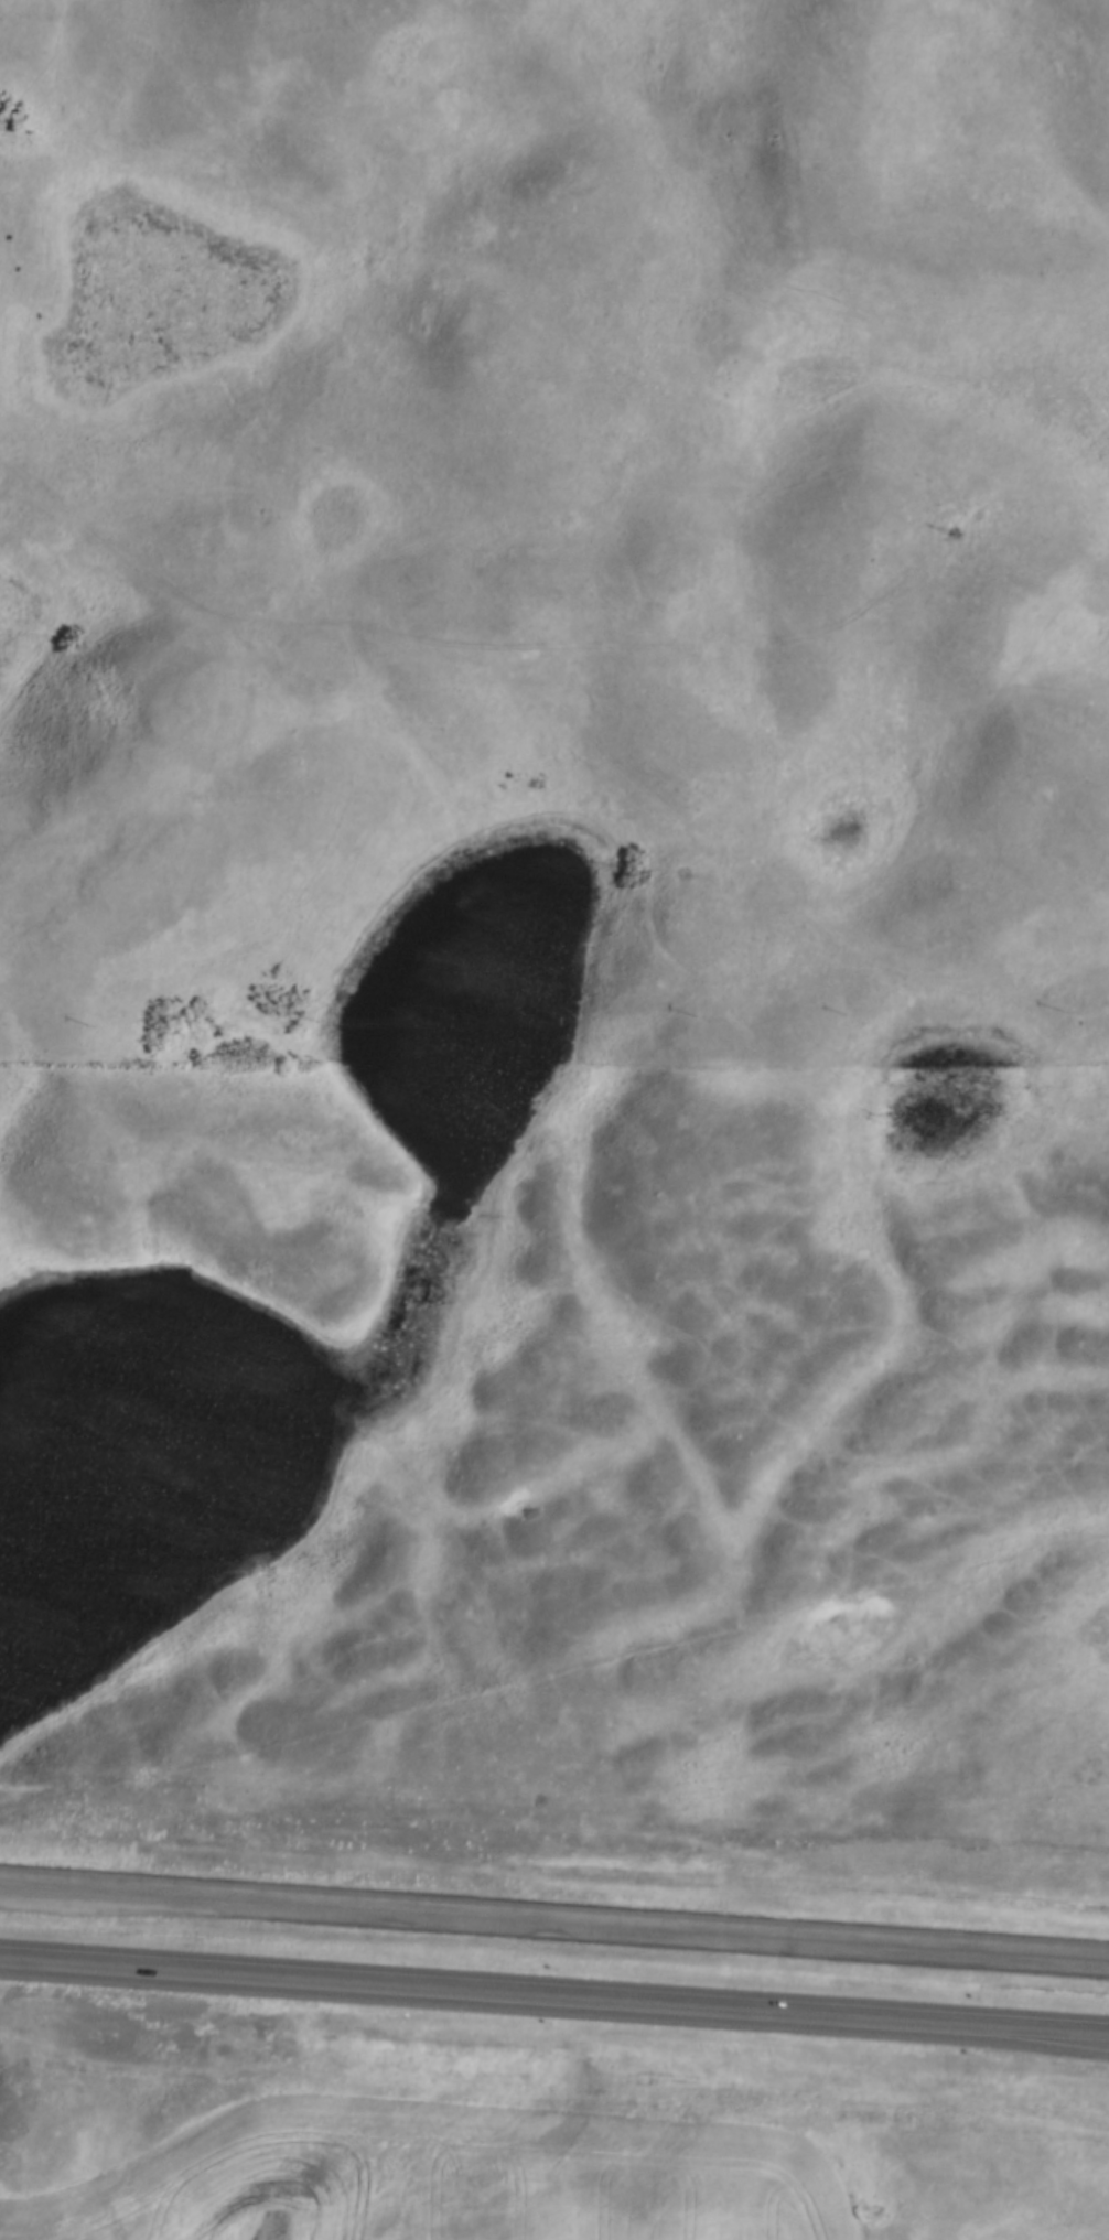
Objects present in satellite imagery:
road: (554, 1919)
road: (554, 1991)

